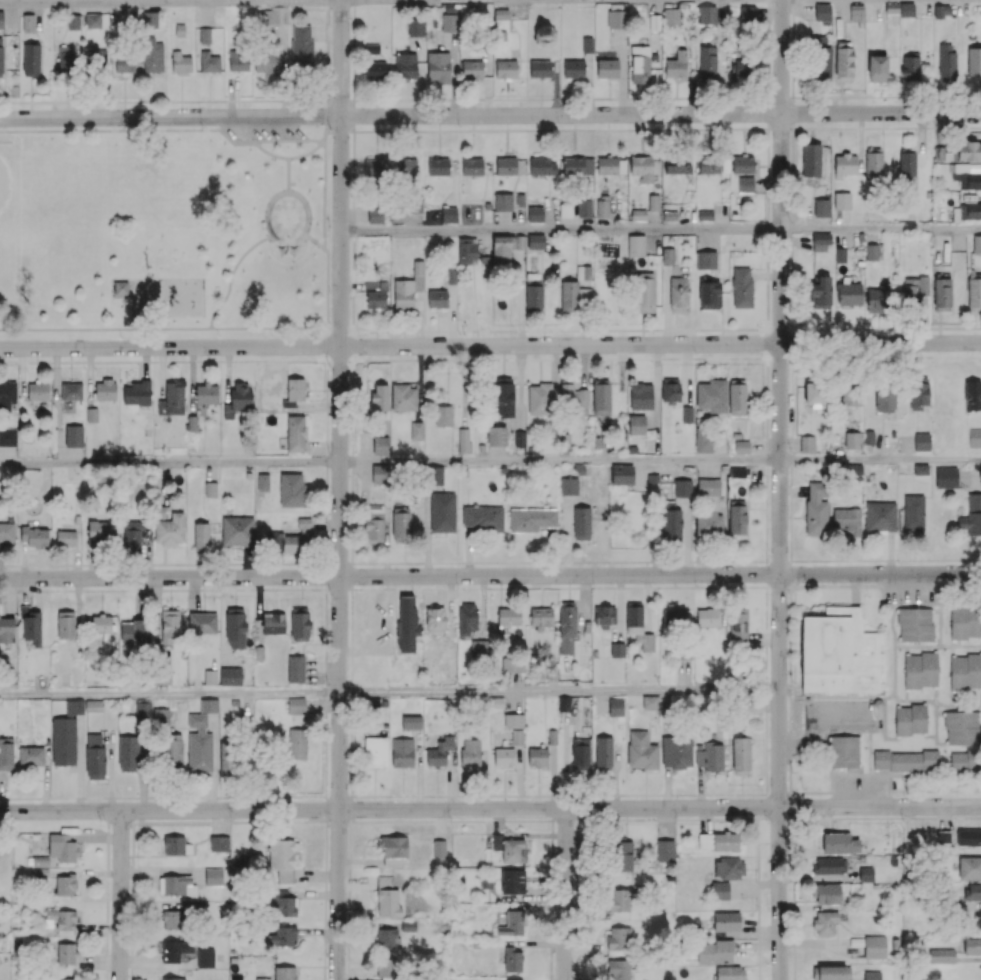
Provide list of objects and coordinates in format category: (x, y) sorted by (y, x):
road: (451, 0)
road: (170, 2)
road: (328, 3)
building: (906, 10)
building: (941, 10)
road: (768, 11)
building: (748, 12)
building: (856, 12)
building: (823, 13)
building: (707, 14)
building: (274, 15)
building: (671, 16)
building: (616, 18)
building: (1, 19)
building: (150, 19)
road: (793, 19)
building: (73, 21)
building: (93, 21)
building: (28, 22)
building: (450, 22)
road: (354, 25)
building: (415, 27)
building: (205, 34)
road: (328, 36)
road: (768, 39)
building: (587, 44)
building: (301, 46)
building: (151, 54)
building: (1, 56)
road: (792, 56)
building: (821, 58)
building: (30, 59)
building: (95, 59)
road: (354, 59)
building: (65, 60)
building: (238, 60)
building: (844, 61)
building: (974, 61)
building: (209, 62)
building: (946, 62)
building: (125, 63)
building: (268, 63)
building: (708, 63)
building: (181, 64)
building: (640, 64)
building: (677, 64)
building: (741, 64)
building: (405, 65)
road: (768, 65)
building: (910, 65)
building: (438, 67)
building: (540, 68)
building: (573, 68)
building: (607, 68)
building: (877, 68)
building: (376, 69)
building: (472, 69)
building: (506, 69)
road: (328, 79)
road: (354, 84)
road: (768, 84)
road: (792, 84)
road: (918, 95)
road: (328, 96)
road: (729, 96)
road: (797, 96)
road: (820, 96)
road: (848, 96)
road: (611, 97)
road: (653, 97)
road: (681, 97)
road: (466, 98)
road: (519, 98)
road: (574, 98)
road: (780, 98)
road: (376, 99)
road: (406, 99)
road: (431, 99)
road: (450, 99)
road: (224, 100)
road: (305, 100)
road: (4, 101)
road: (64, 101)
road: (80, 101)
road: (95, 101)
road: (104, 101)
road: (132, 101)
road: (159, 101)
road: (341, 101)
road: (22, 102)
road: (49, 102)
road: (770, 111)
road: (791, 112)
road: (352, 114)
road: (329, 115)
road: (490, 115)
road: (778, 125)
road: (861, 127)
road: (949, 127)
road: (975, 127)
road: (340, 128)
road: (659, 128)
road: (682, 128)
road: (700, 128)
road: (716, 128)
road: (746, 128)
road: (492, 129)
road: (555, 129)
road: (598, 129)
road: (641, 129)
road: (361, 130)
road: (402, 130)
road: (163, 131)
road: (792, 150)
building: (969, 151)
road: (353, 153)
building: (941, 153)
road: (768, 157)
building: (811, 159)
building: (907, 162)
building: (708, 163)
building: (742, 164)
building: (845, 164)
building: (578, 165)
building: (611, 165)
building: (405, 166)
building: (437, 166)
building: (471, 166)
building: (505, 166)
building: (543, 166)
building: (375, 167)
building: (644, 167)
building: (674, 167)
building: (873, 167)
building: (966, 175)
building: (745, 184)
road: (353, 190)
road: (767, 191)
road: (792, 194)
park: (32, 197)
building: (520, 200)
building: (842, 200)
building: (503, 201)
building: (416, 204)
building: (602, 206)
building: (822, 207)
building: (584, 208)
building: (970, 210)
building: (449, 214)
building: (535, 214)
building: (637, 214)
road: (767, 214)
building: (705, 215)
road: (881, 227)
road: (327, 229)
park: (163, 230)
road: (560, 230)
building: (536, 241)
road: (792, 241)
building: (820, 242)
building: (976, 243)
building: (635, 245)
building: (505, 247)
building: (467, 250)
road: (767, 250)
building: (872, 252)
building: (668, 255)
building: (840, 255)
building: (706, 259)
road: (353, 264)
building: (583, 272)
building: (923, 285)
building: (409, 287)
building: (742, 287)
building: (122, 289)
building: (909, 290)
building: (644, 292)
building: (679, 293)
building: (820, 293)
building: (849, 293)
building: (974, 293)
building: (709, 294)
building: (942, 294)
building: (533, 295)
building: (569, 295)
road: (767, 297)
building: (375, 298)
building: (437, 298)
road: (792, 298)
building: (876, 299)
road: (160, 304)
road: (954, 327)
road: (813, 328)
road: (862, 328)
road: (908, 328)
road: (244, 329)
road: (593, 329)
road: (683, 329)
road: (80, 330)
road: (398, 330)
road: (462, 330)
road: (535, 330)
road: (768, 343)
road: (328, 344)
road: (490, 345)
road: (854, 356)
road: (948, 356)
road: (685, 357)
road: (543, 358)
road: (582, 358)
road: (595, 358)
road: (387, 359)
road: (442, 359)
road: (468, 359)
road: (481, 359)
road: (500, 359)
road: (125, 360)
road: (257, 360)
road: (296, 360)
road: (792, 365)
road: (352, 374)
road: (767, 375)
building: (105, 389)
building: (295, 390)
building: (670, 390)
building: (37, 391)
building: (71, 391)
building: (137, 393)
building: (206, 393)
building: (814, 393)
building: (850, 393)
building: (918, 393)
building: (7, 394)
building: (241, 395)
building: (573, 395)
building: (712, 395)
building: (972, 395)
building: (379, 396)
building: (502, 396)
building: (641, 396)
building: (404, 397)
building: (601, 397)
building: (737, 397)
building: (172, 399)
building: (539, 399)
building: (885, 399)
road: (767, 405)
road: (327, 407)
building: (687, 414)
building: (91, 415)
building: (443, 415)
road: (352, 419)
building: (636, 424)
building: (416, 430)
building: (295, 433)
building: (74, 435)
building: (496, 435)
building: (8, 436)
building: (974, 437)
building: (519, 439)
building: (703, 439)
building: (464, 440)
building: (852, 440)
building: (922, 441)
building: (807, 444)
building: (381, 445)
building: (741, 446)
road: (880, 459)
road: (326, 460)
road: (559, 460)
road: (169, 462)
road: (790, 466)
building: (854, 469)
building: (921, 469)
building: (737, 471)
building: (380, 473)
building: (622, 474)
building: (435, 475)
road: (352, 477)
building: (946, 477)
road: (326, 479)
building: (263, 481)
building: (568, 485)
building: (683, 487)
road: (766, 488)
building: (210, 489)
building: (291, 489)
road: (340, 489)
road: (780, 490)
road: (326, 501)
building: (709, 507)
building: (816, 508)
building: (442, 512)
building: (913, 513)
building: (972, 515)
building: (737, 516)
building: (880, 516)
building: (482, 518)
building: (531, 519)
building: (847, 520)
building: (671, 521)
building: (581, 522)
road: (352, 523)
building: (373, 524)
building: (401, 524)
building: (168, 525)
road: (326, 525)
building: (237, 531)
building: (7, 532)
building: (101, 532)
building: (134, 535)
building: (35, 536)
building: (201, 537)
building: (66, 538)
building: (291, 539)
road: (326, 551)
road: (352, 553)
road: (967, 558)
road: (872, 559)
road: (746, 560)
road: (778, 560)
road: (604, 561)
road: (666, 561)
road: (693, 561)
road: (715, 561)
road: (264, 562)
road: (287, 562)
road: (442, 562)
road: (544, 562)
road: (211, 563)
road: (238, 563)
road: (311, 563)
road: (46, 564)
road: (122, 564)
road: (174, 564)
road: (767, 572)
road: (790, 573)
road: (351, 574)
road: (327, 575)
road: (490, 575)
road: (778, 585)
road: (862, 585)
road: (957, 585)
road: (615, 586)
road: (723, 586)
road: (753, 586)
road: (512, 587)
road: (259, 588)
road: (425, 588)
road: (74, 589)
road: (147, 589)
road: (164, 589)
road: (180, 589)
road: (6, 590)
road: (790, 593)
road: (326, 594)
building: (605, 615)
building: (508, 616)
building: (708, 617)
building: (541, 618)
building: (673, 618)
building: (467, 619)
building: (435, 620)
building: (965, 621)
building: (206, 622)
building: (273, 622)
building: (101, 623)
building: (407, 623)
building: (65, 624)
building: (234, 624)
building: (738, 624)
building: (915, 624)
building: (169, 626)
building: (299, 626)
building: (638, 626)
building: (31, 627)
building: (566, 627)
building: (7, 629)
building: (134, 631)
road: (325, 631)
road: (790, 631)
road: (765, 632)
road: (352, 641)
building: (479, 647)
building: (617, 649)
building: (838, 652)
building: (513, 664)
building: (295, 669)
building: (920, 670)
building: (965, 671)
building: (162, 676)
building: (230, 676)
building: (210, 677)
road: (389, 693)
road: (765, 697)
building: (93, 705)
building: (209, 705)
building: (296, 705)
building: (616, 706)
building: (74, 707)
building: (143, 709)
road: (352, 713)
building: (161, 715)
building: (910, 719)
building: (514, 720)
building: (411, 722)
road: (790, 727)
building: (962, 727)
road: (325, 728)
building: (552, 736)
building: (63, 740)
road: (352, 740)
building: (297, 743)
building: (199, 744)
building: (641, 750)
building: (375, 751)
building: (676, 751)
building: (844, 751)
building: (172, 752)
building: (402, 752)
building: (439, 752)
building: (470, 752)
building: (603, 752)
building: (6, 753)
building: (128, 753)
building: (581, 753)
road: (765, 754)
building: (740, 755)
building: (31, 756)
building: (709, 756)
building: (95, 757)
building: (226, 757)
building: (503, 757)
building: (537, 757)
road: (351, 759)
building: (906, 760)
building: (964, 760)
road: (352, 782)
road: (965, 789)
road: (976, 789)
road: (915, 790)
road: (930, 790)
road: (942, 790)
road: (953, 790)
road: (847, 791)
road: (709, 793)
road: (559, 794)
road: (616, 794)
road: (639, 794)
road: (778, 794)
road: (366, 795)
road: (389, 795)
road: (431, 795)
road: (476, 795)
road: (499, 795)
road: (210, 796)
road: (256, 796)
road: (303, 796)
road: (78, 797)
road: (175, 797)
road: (764, 805)
road: (326, 807)
road: (490, 808)
road: (752, 817)
road: (809, 817)
road: (903, 817)
road: (600, 818)
road: (673, 818)
road: (735, 818)
road: (564, 819)
road: (452, 820)
road: (265, 821)
road: (307, 821)
road: (757, 821)
road: (187, 822)
road: (552, 828)
road: (107, 830)
road: (577, 833)
road: (757, 836)
building: (943, 836)
building: (969, 836)
building: (718, 841)
building: (219, 843)
building: (840, 843)
building: (176, 845)
building: (62, 847)
road: (793, 847)
building: (439, 848)
building: (511, 848)
building: (393, 849)
road: (132, 850)
building: (665, 850)
road: (107, 852)
building: (622, 855)
building: (282, 859)
building: (40, 861)
road: (349, 865)
building: (829, 865)
building: (969, 867)
building: (729, 868)
building: (864, 873)
building: (213, 876)
road: (325, 878)
building: (511, 882)
building: (65, 884)
building: (176, 885)
building: (720, 890)
building: (826, 893)
road: (565, 894)
road: (793, 894)
road: (120, 895)
building: (972, 895)
road: (576, 896)
building: (387, 897)
building: (619, 900)
road: (551, 901)
building: (281, 903)
road: (131, 911)
road: (758, 914)
building: (62, 918)
building: (173, 919)
building: (726, 921)
building: (825, 922)
road: (107, 923)
building: (512, 923)
road: (794, 927)
road: (348, 928)
building: (283, 936)
building: (386, 937)
building: (620, 938)
building: (875, 946)
building: (972, 946)
building: (175, 950)
building: (714, 952)
building: (66, 953)
road: (324, 954)
building: (942, 955)
building: (205, 957)
building: (512, 959)
road: (348, 960)
road: (131, 961)
road: (794, 961)
road: (575, 963)
building: (386, 968)
building: (619, 969)
building: (286, 972)
road: (550, 972)
building: (833, 972)
building: (730, 973)
building: (872, 975)
road: (324, 977)
building: (65, 978)
building: (172, 978)
building: (262, 978)
building: (513, 978)

